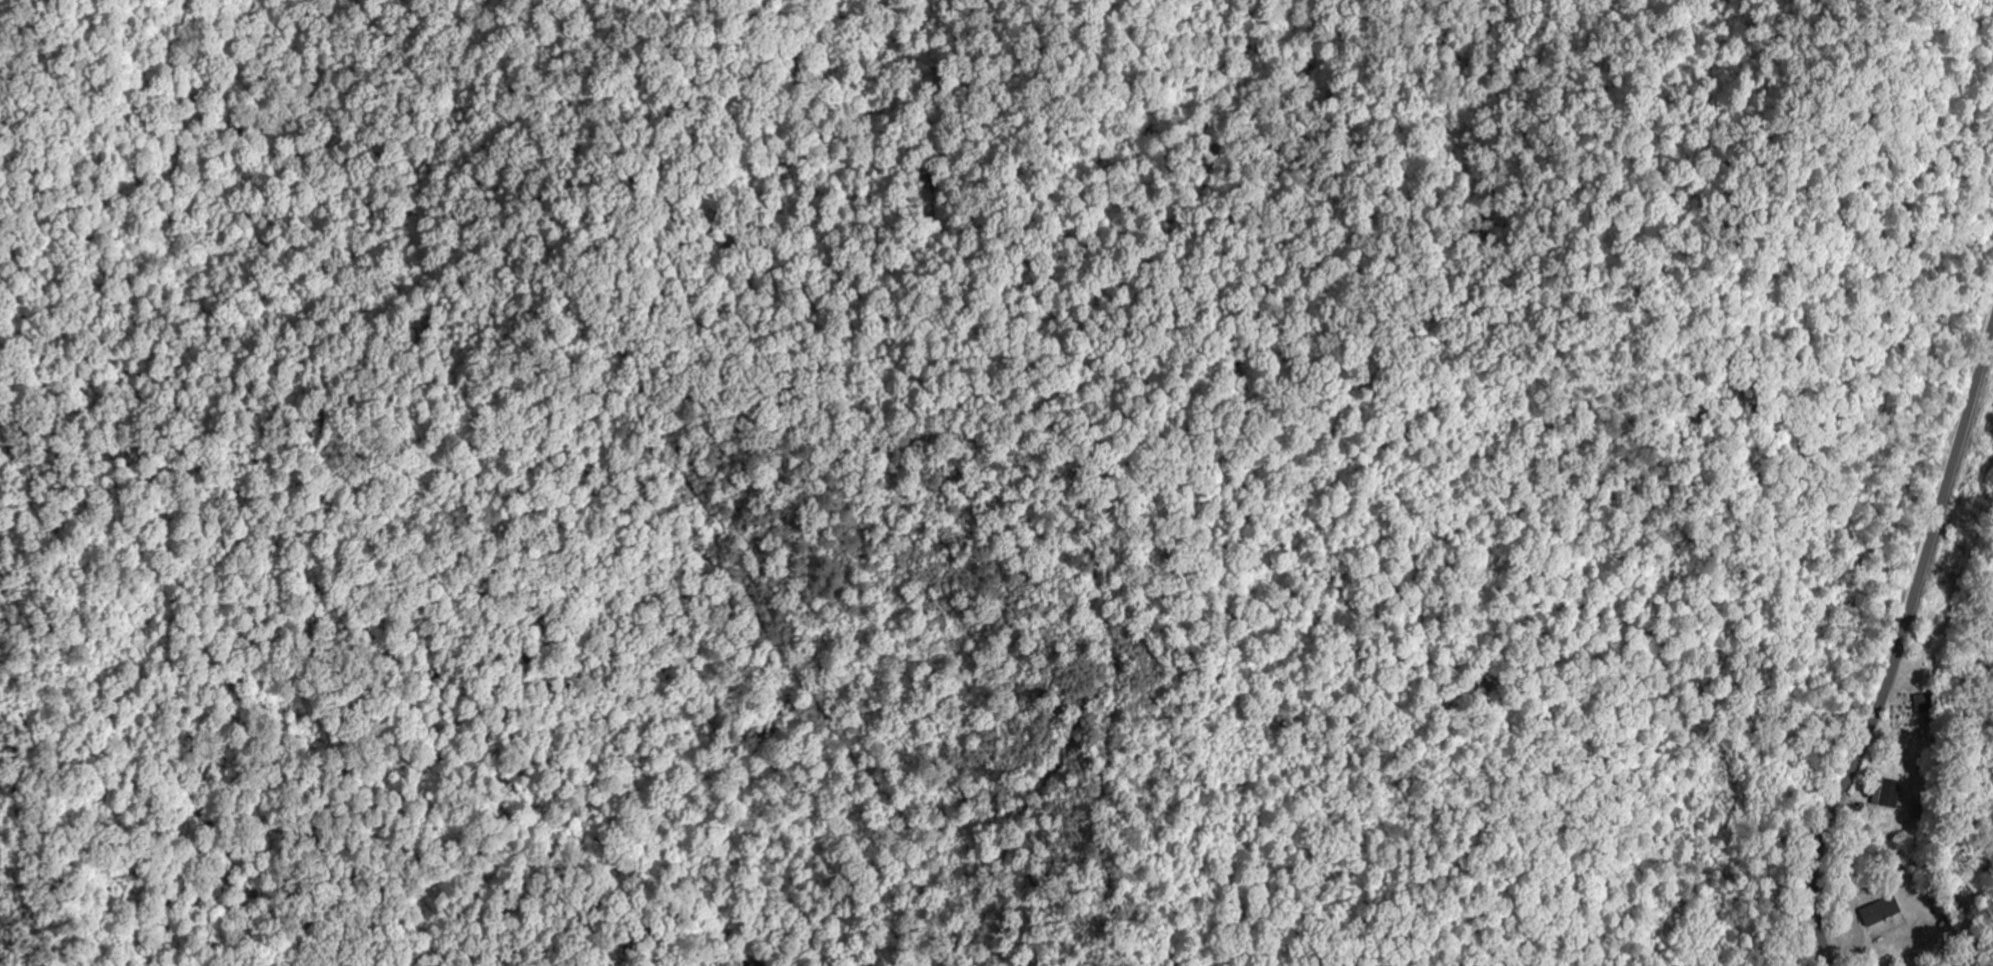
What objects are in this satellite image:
road: (1898, 654)
building: (1924, 704)
building: (1886, 794)
building: (1899, 899)
building: (1916, 936)

